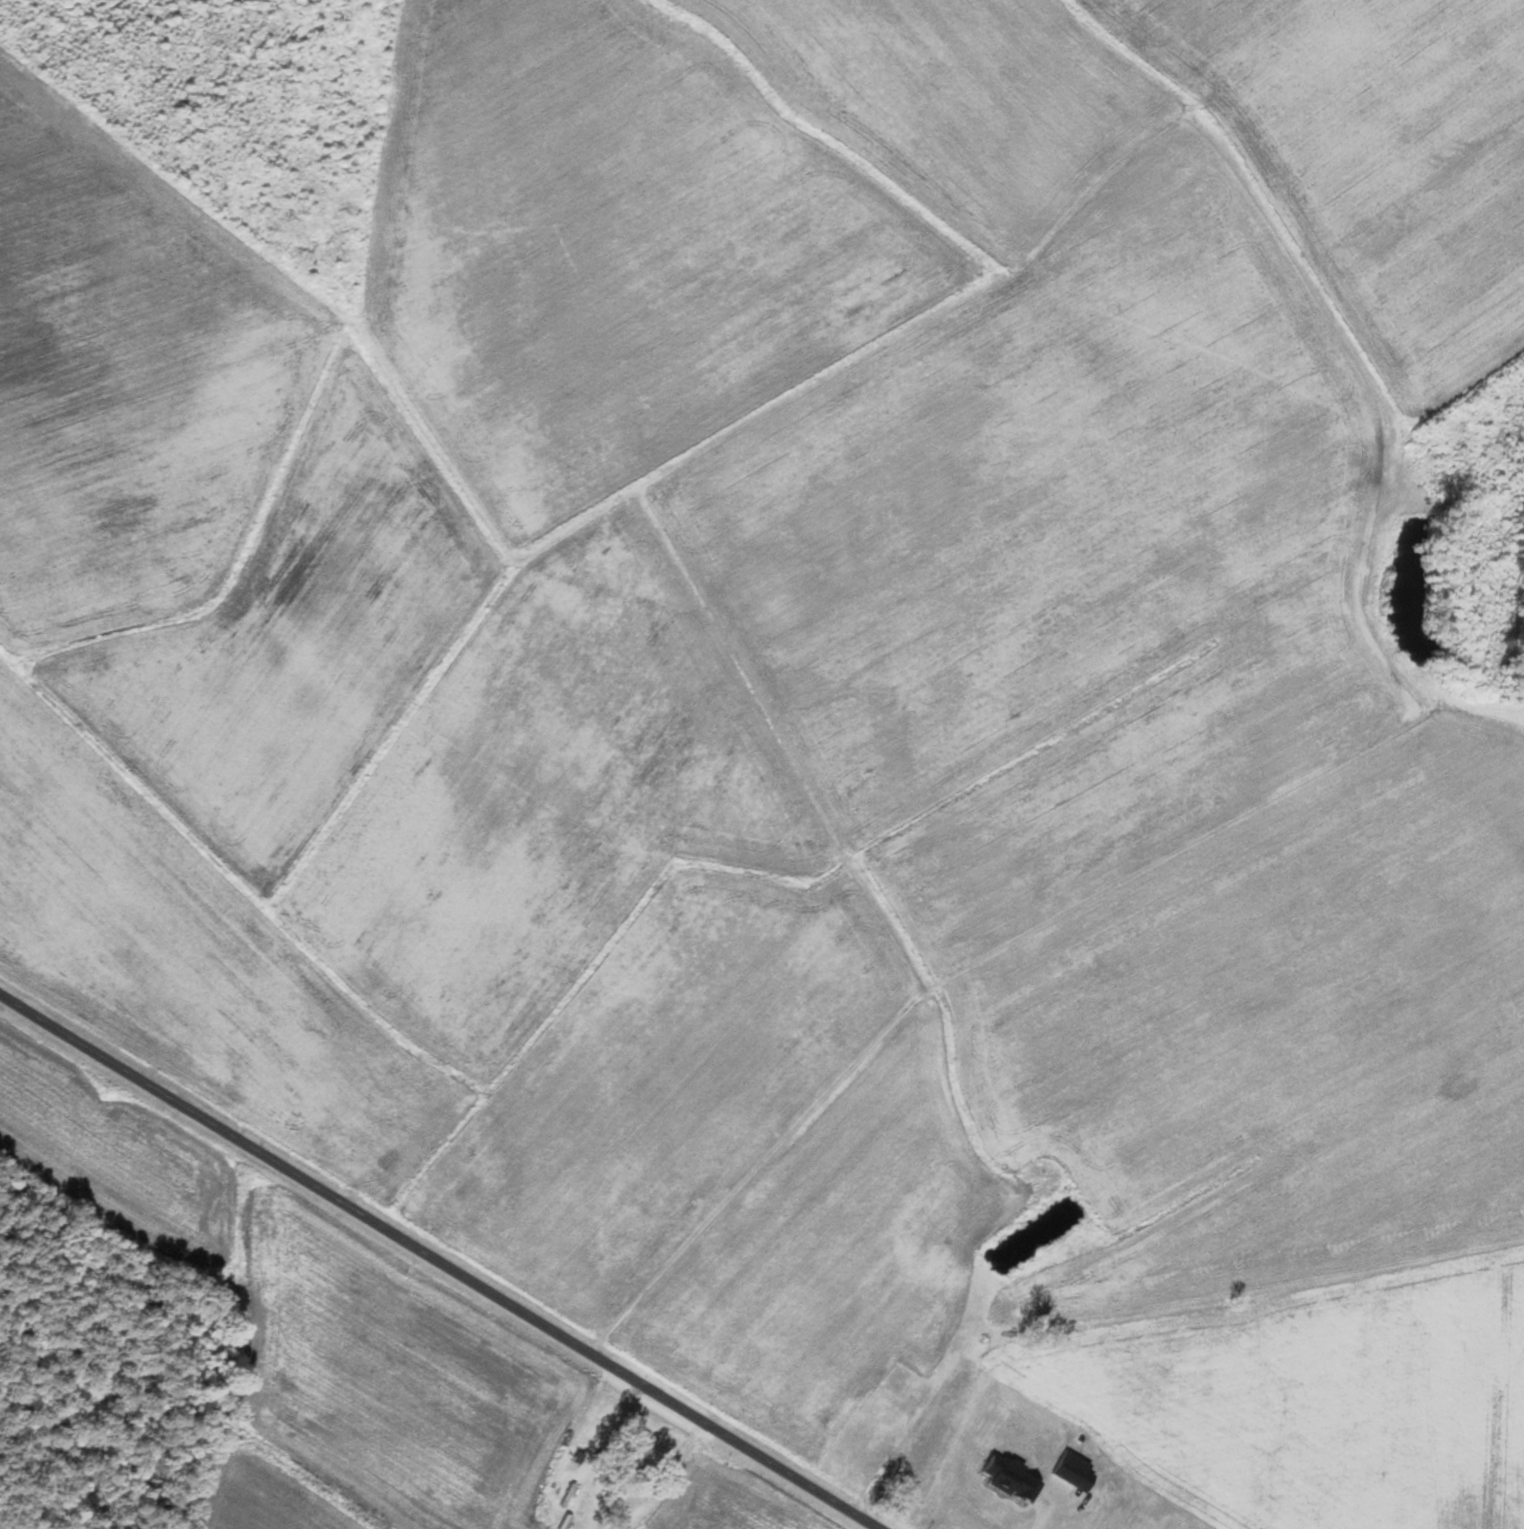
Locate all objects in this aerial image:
road: (431, 1266)
building: (892, 1380)
building: (640, 1452)
building: (564, 1523)

